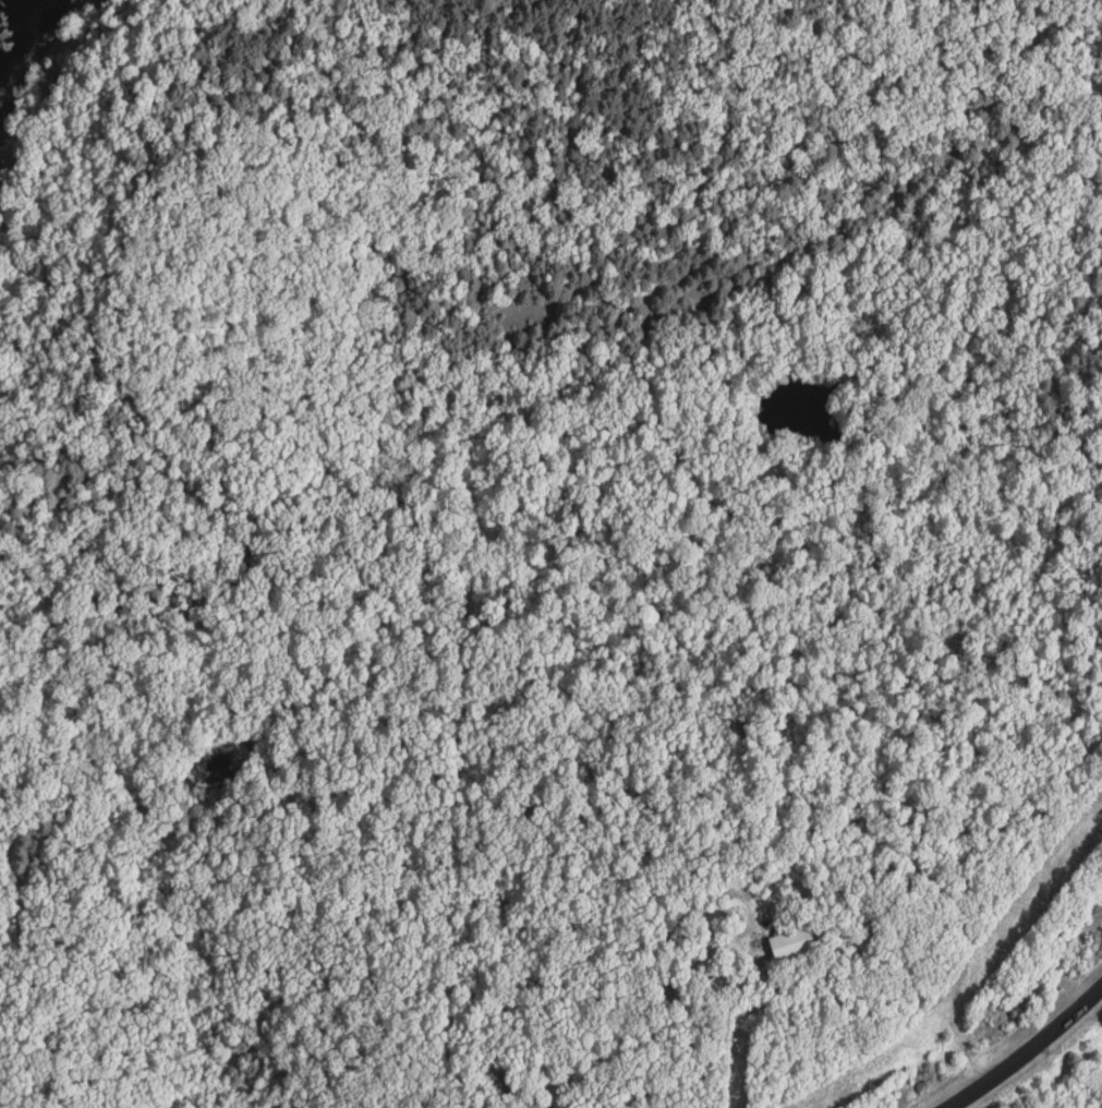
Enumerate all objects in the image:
building: (796, 943)
building: (720, 986)
road: (1020, 1047)

